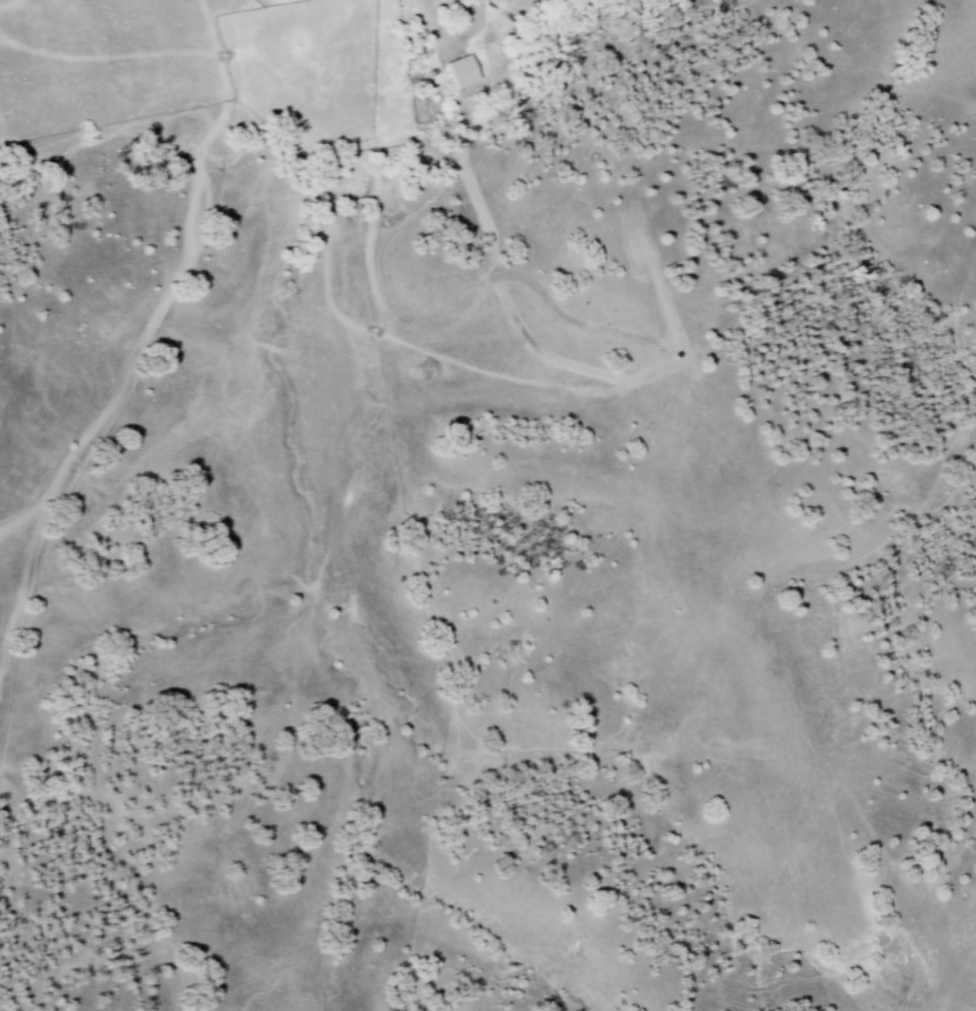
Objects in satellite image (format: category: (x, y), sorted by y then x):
building: (460, 70)

